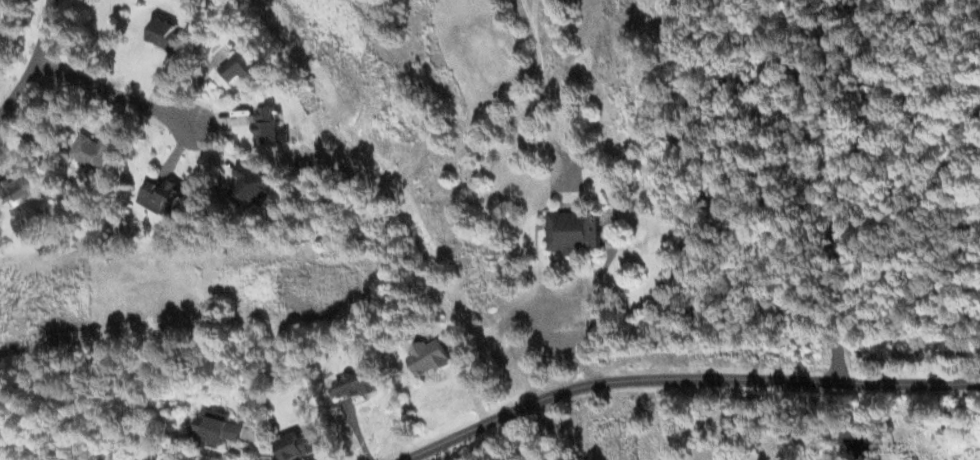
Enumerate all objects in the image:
building: (164, 36)
road: (36, 63)
building: (237, 64)
road: (116, 94)
building: (269, 127)
building: (91, 151)
building: (9, 188)
building: (248, 188)
building: (161, 197)
park: (444, 217)
building: (570, 231)
building: (427, 356)
road: (681, 377)
building: (216, 426)
park: (944, 443)
building: (296, 444)

